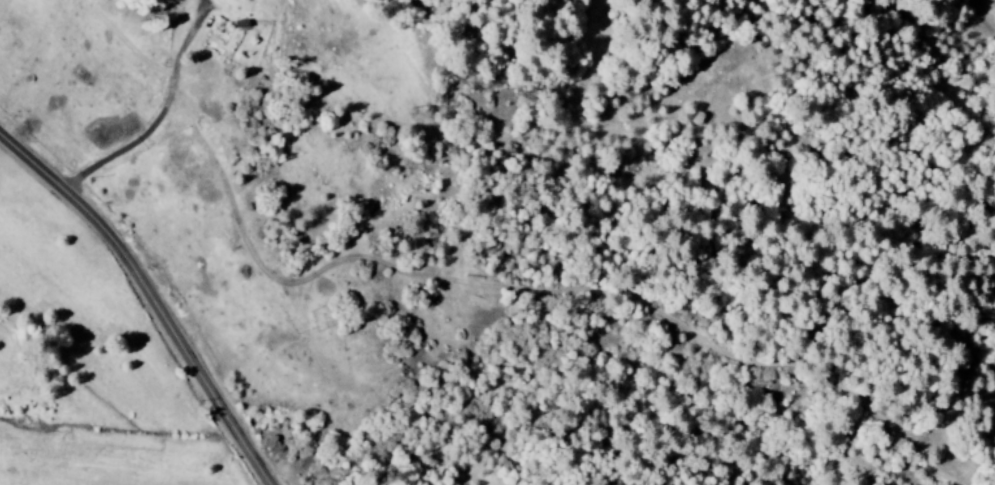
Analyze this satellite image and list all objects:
road: (993, 2)
road: (155, 292)

